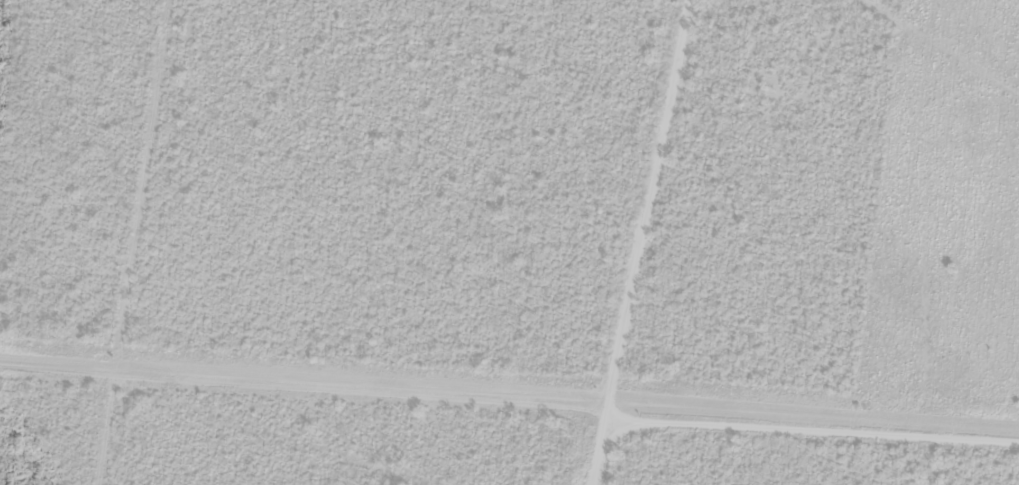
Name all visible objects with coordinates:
road: (920, 241)

